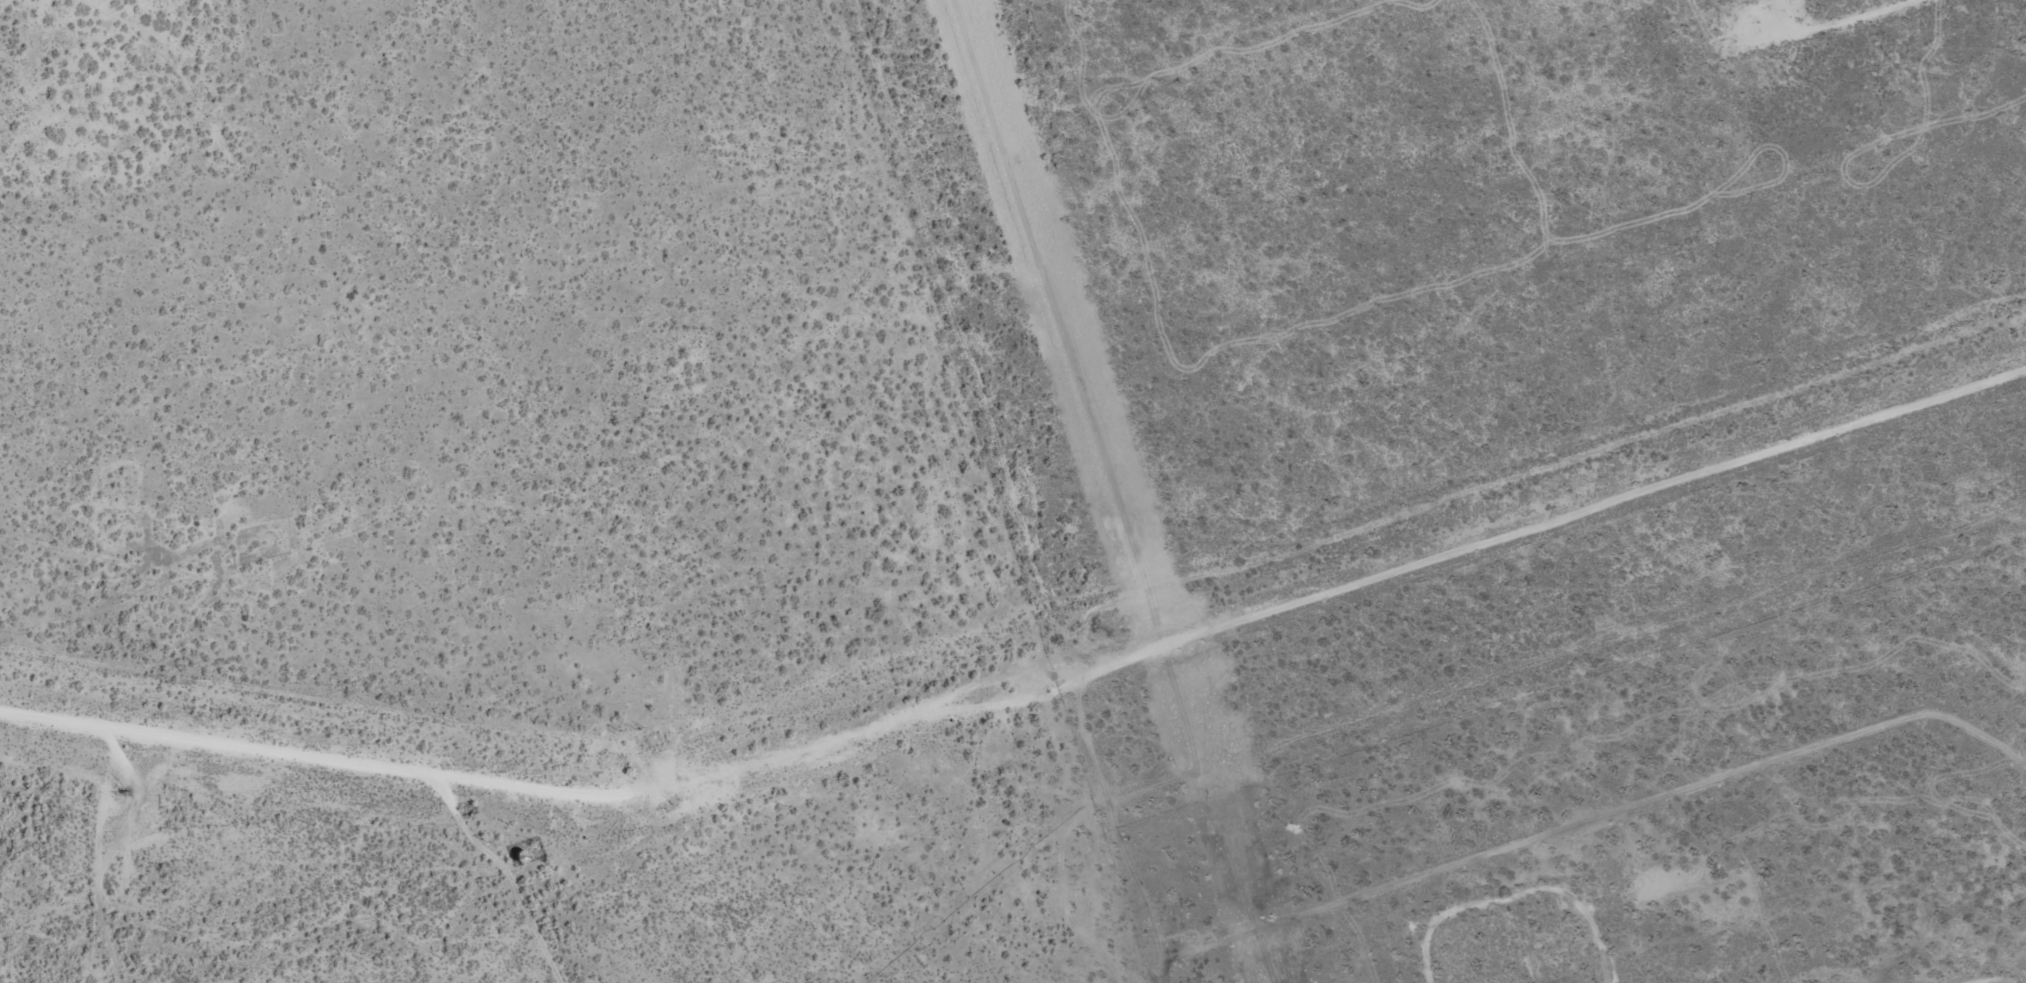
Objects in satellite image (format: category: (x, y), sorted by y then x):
road: (1886, 10)
road: (1025, 701)
road: (444, 899)
road: (1449, 913)

